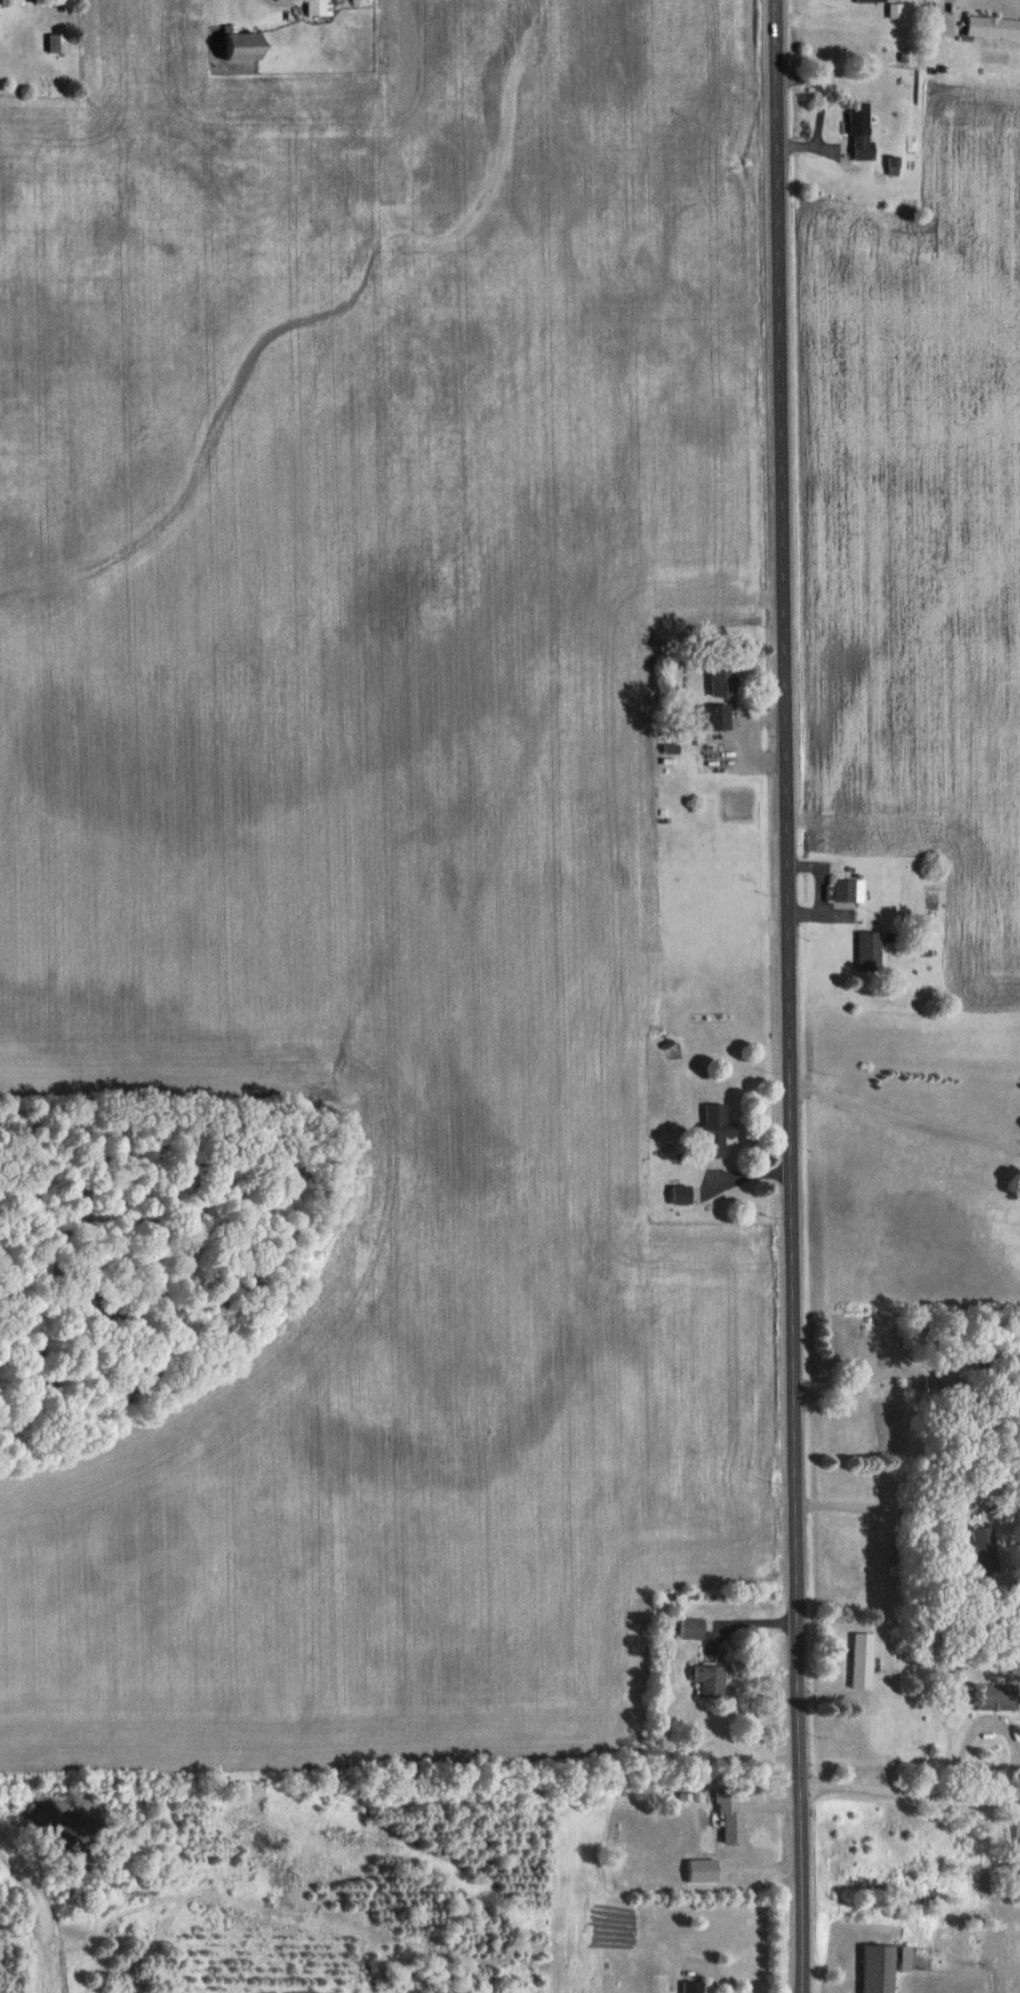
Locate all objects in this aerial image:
road: (283, 1)
building: (864, 1)
building: (9, 2)
building: (313, 8)
building: (990, 28)
building: (52, 44)
building: (234, 46)
building: (855, 131)
building: (889, 166)
building: (714, 682)
building: (704, 718)
building: (839, 890)
building: (864, 951)
road: (788, 996)
road: (904, 1116)
building: (708, 1131)
building: (673, 1196)
building: (977, 1541)
building: (688, 1629)
building: (854, 1660)
building: (701, 1680)
building: (993, 1697)
road: (909, 1794)
building: (722, 1823)
building: (694, 1871)
road: (703, 1962)
building: (879, 1965)
building: (685, 1987)

